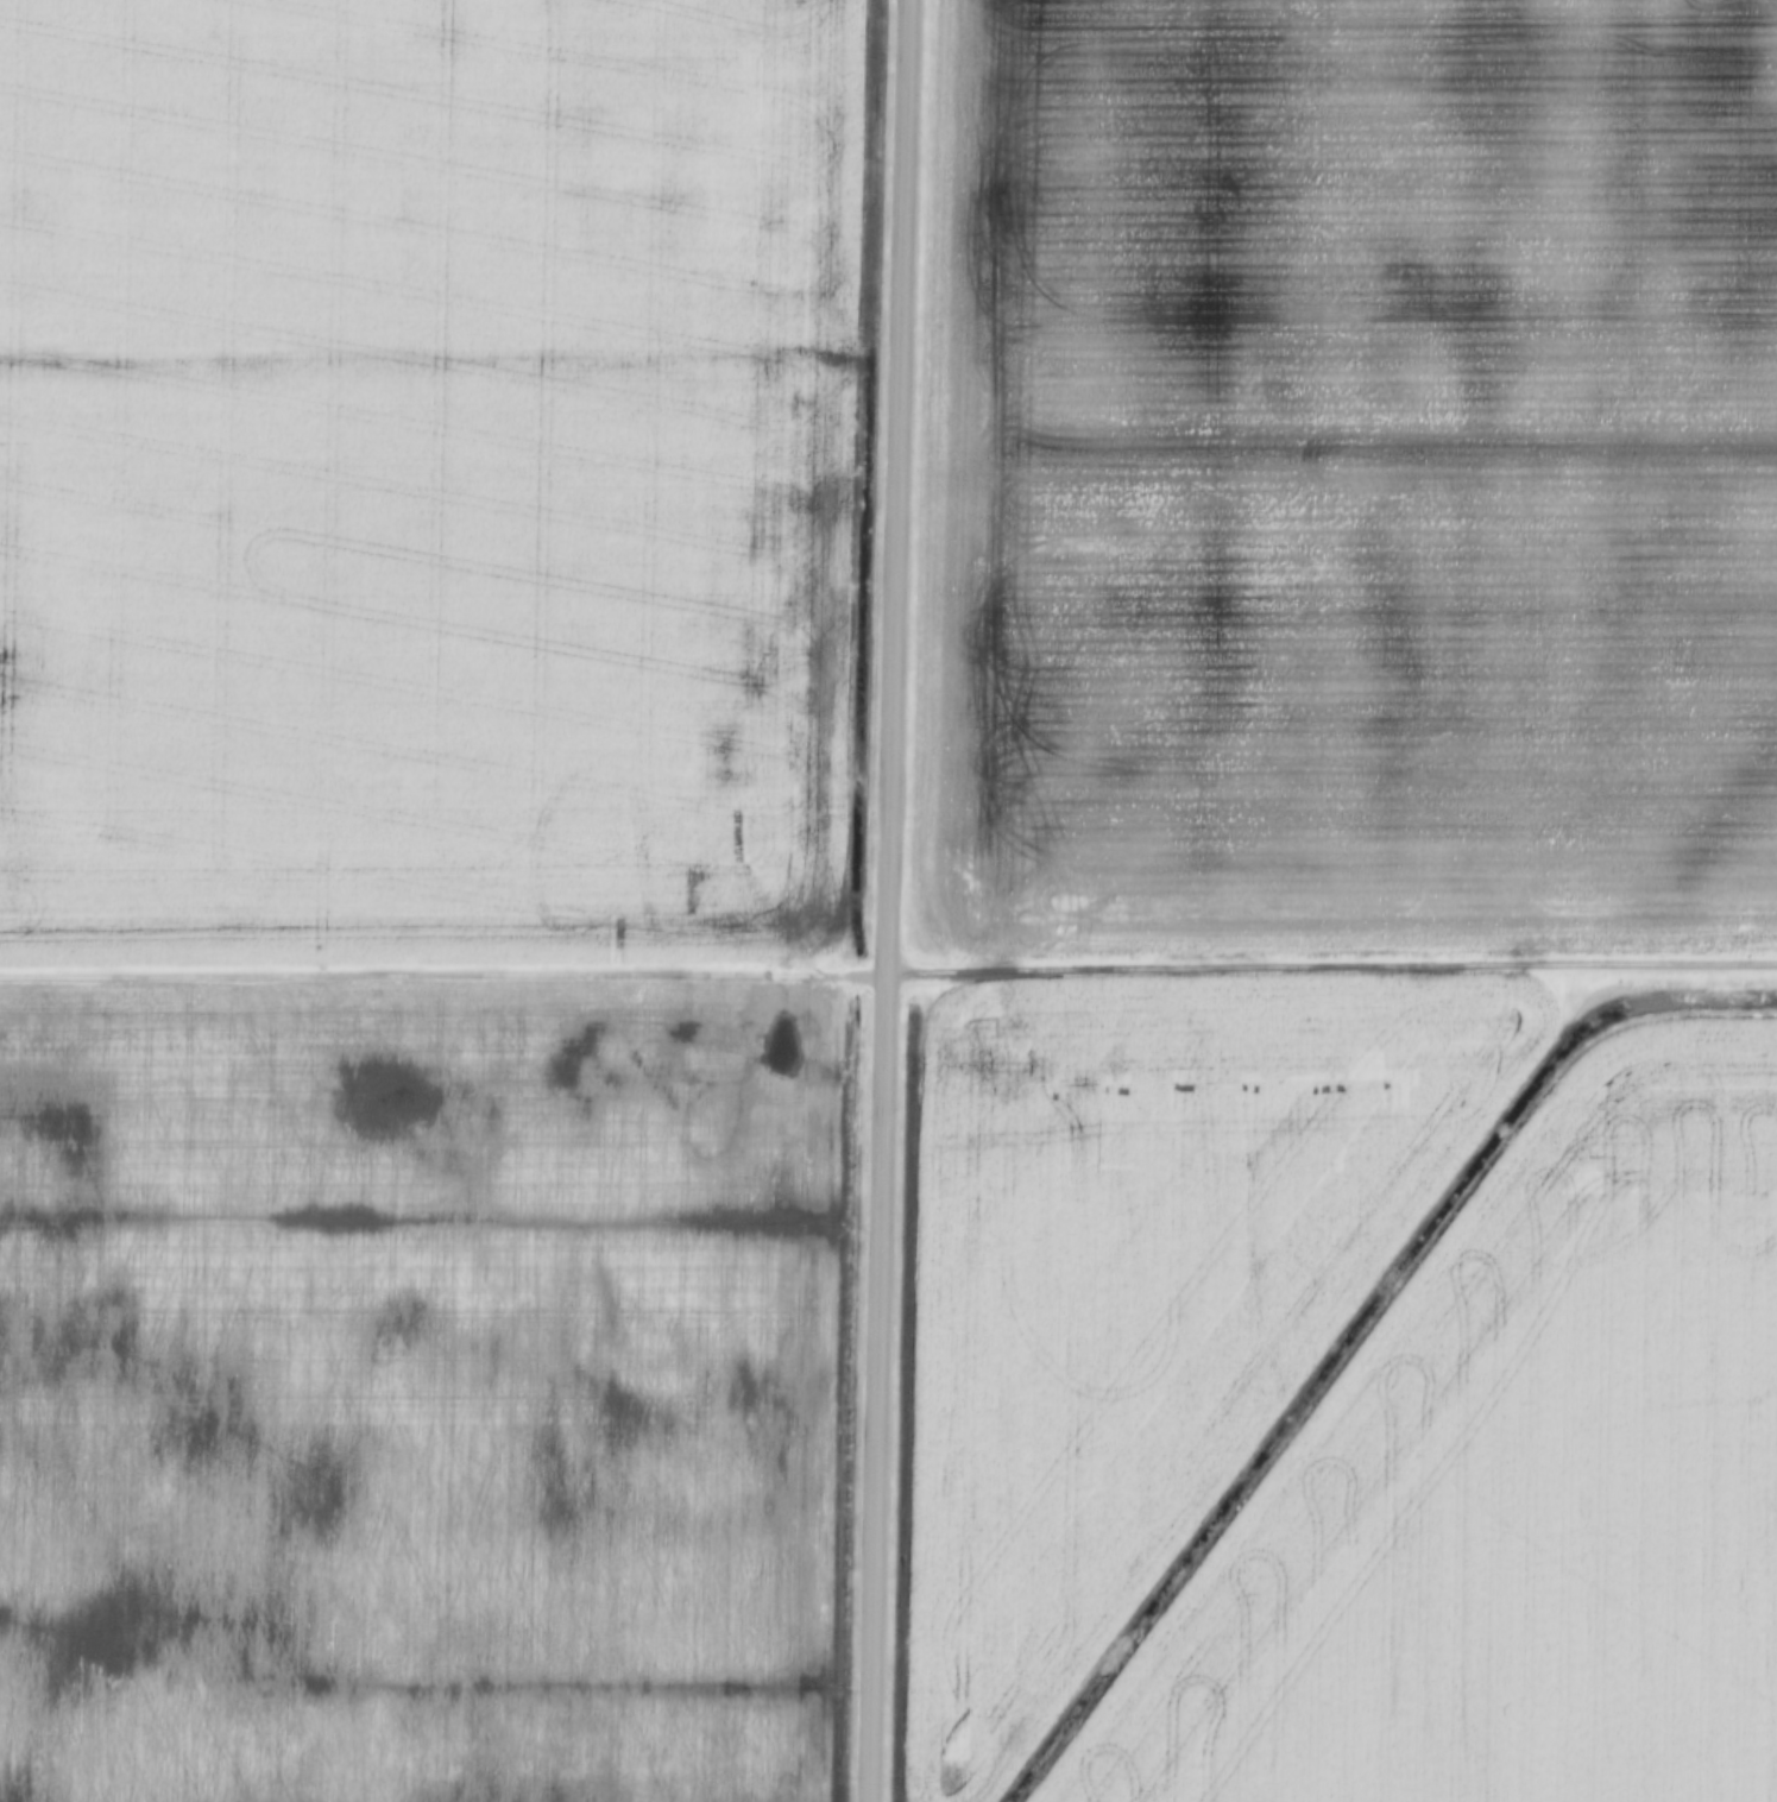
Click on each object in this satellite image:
crop: (1350, 478)
crop: (426, 484)
road: (886, 900)
road: (1330, 971)
road: (442, 982)
crop: (1138, 1291)
crop: (418, 1393)
crop: (1512, 1495)

